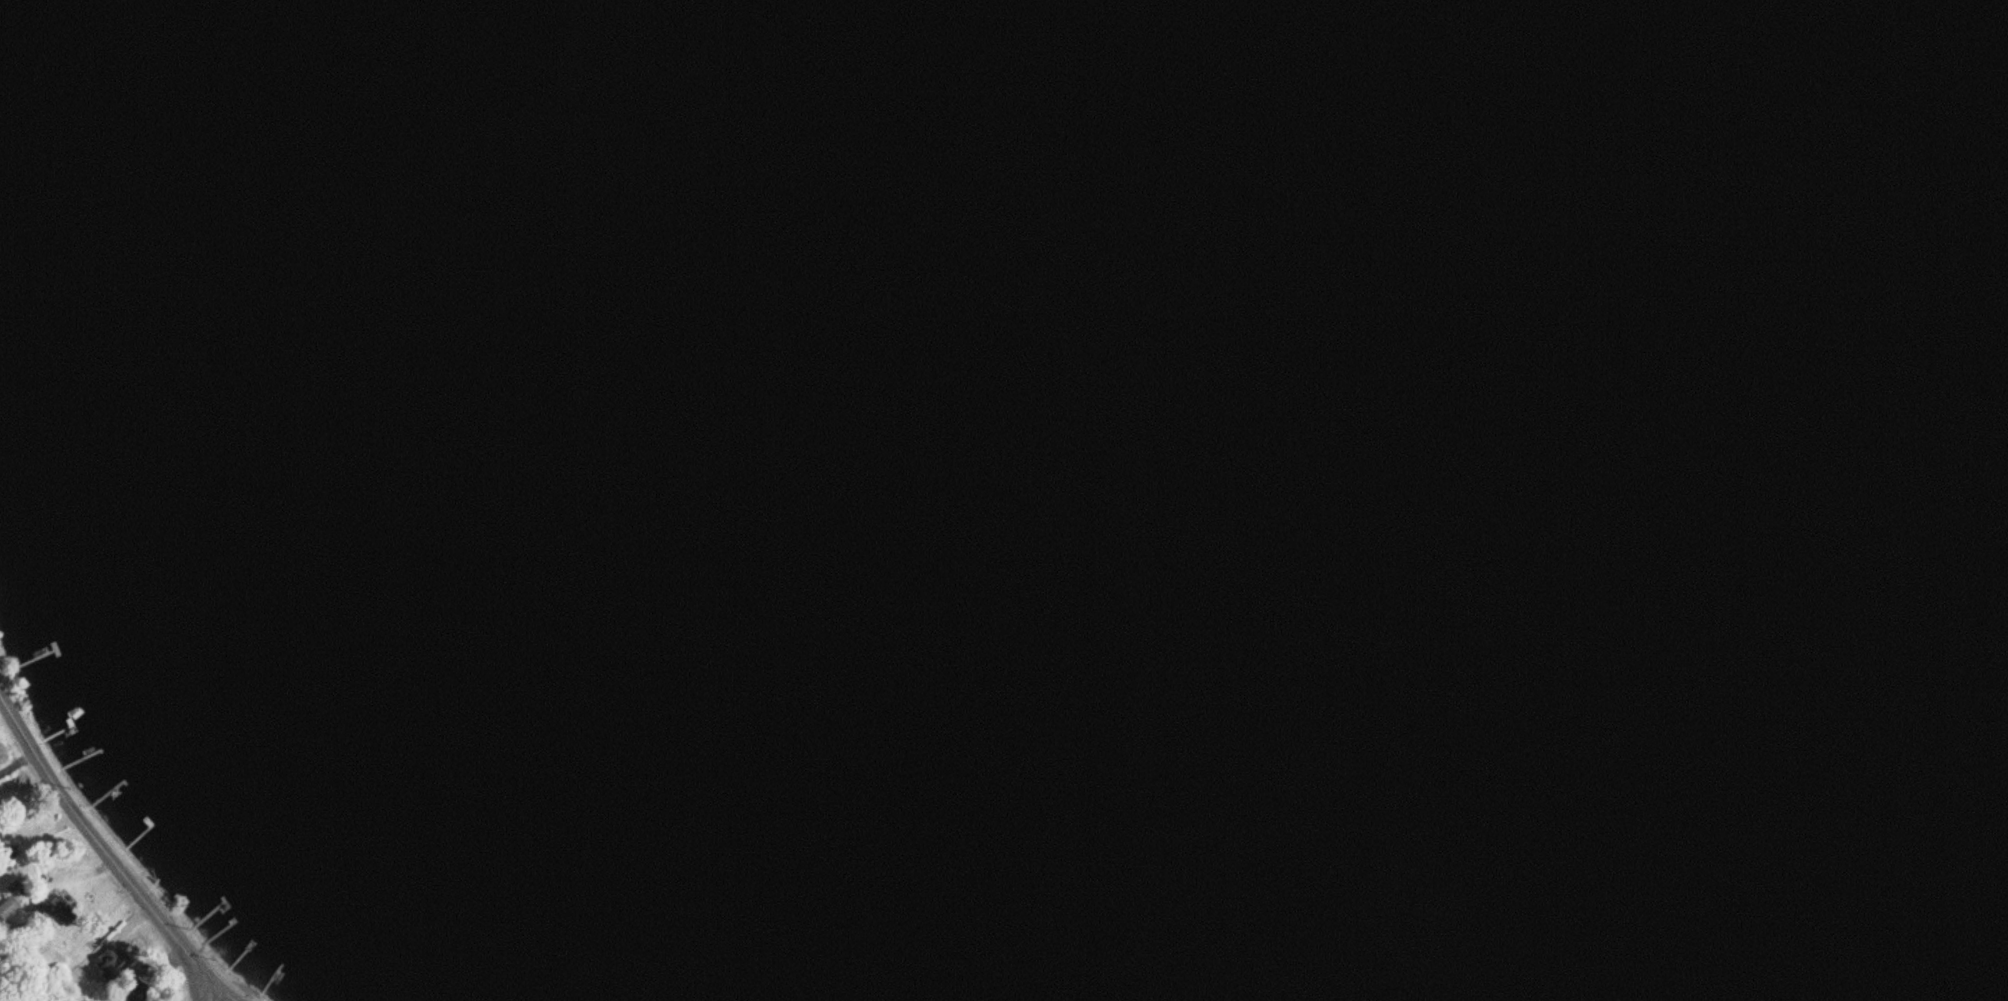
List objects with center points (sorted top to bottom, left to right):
road: (98, 843)
building: (7, 909)
road: (207, 991)
road: (221, 991)

